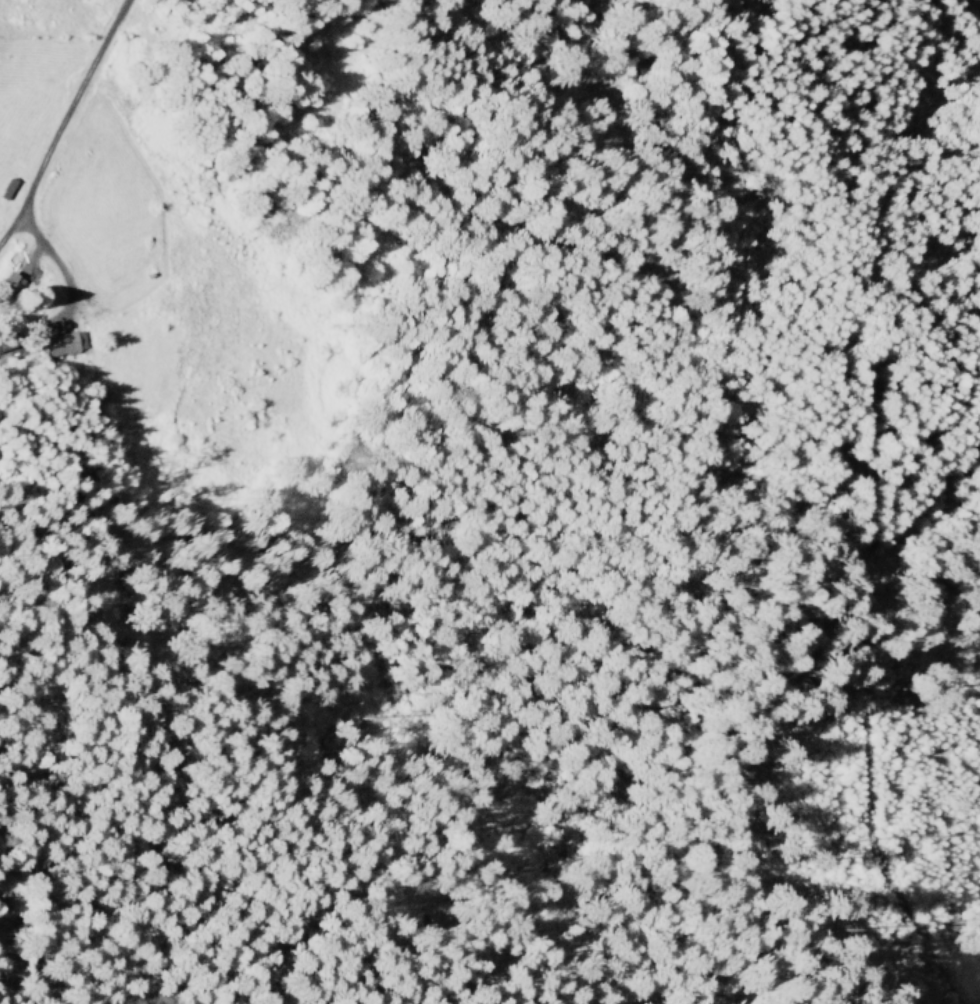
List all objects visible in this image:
building: (64, 341)

